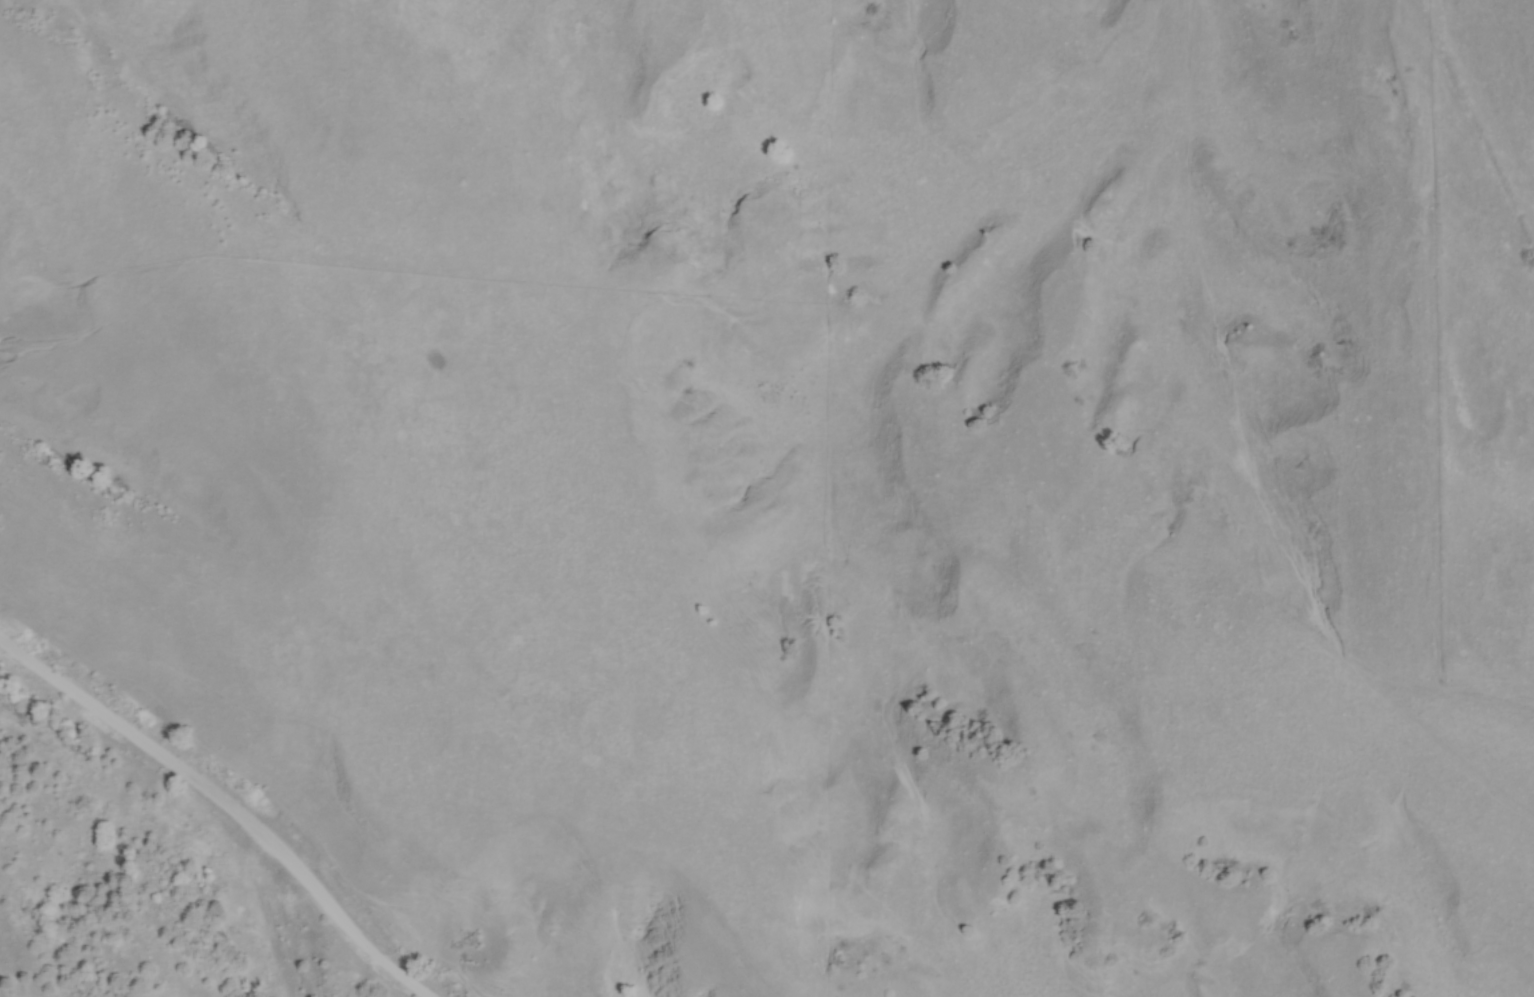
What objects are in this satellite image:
road: (225, 805)

